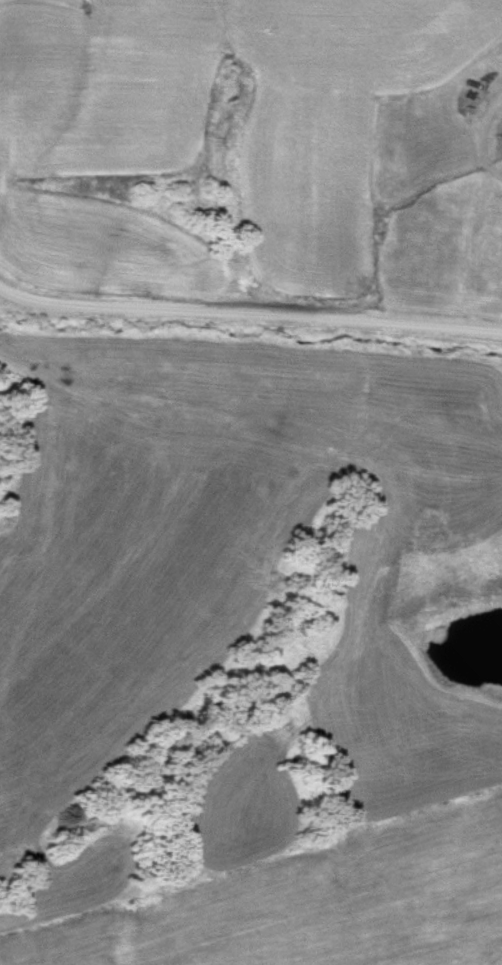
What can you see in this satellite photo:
road: (249, 311)

